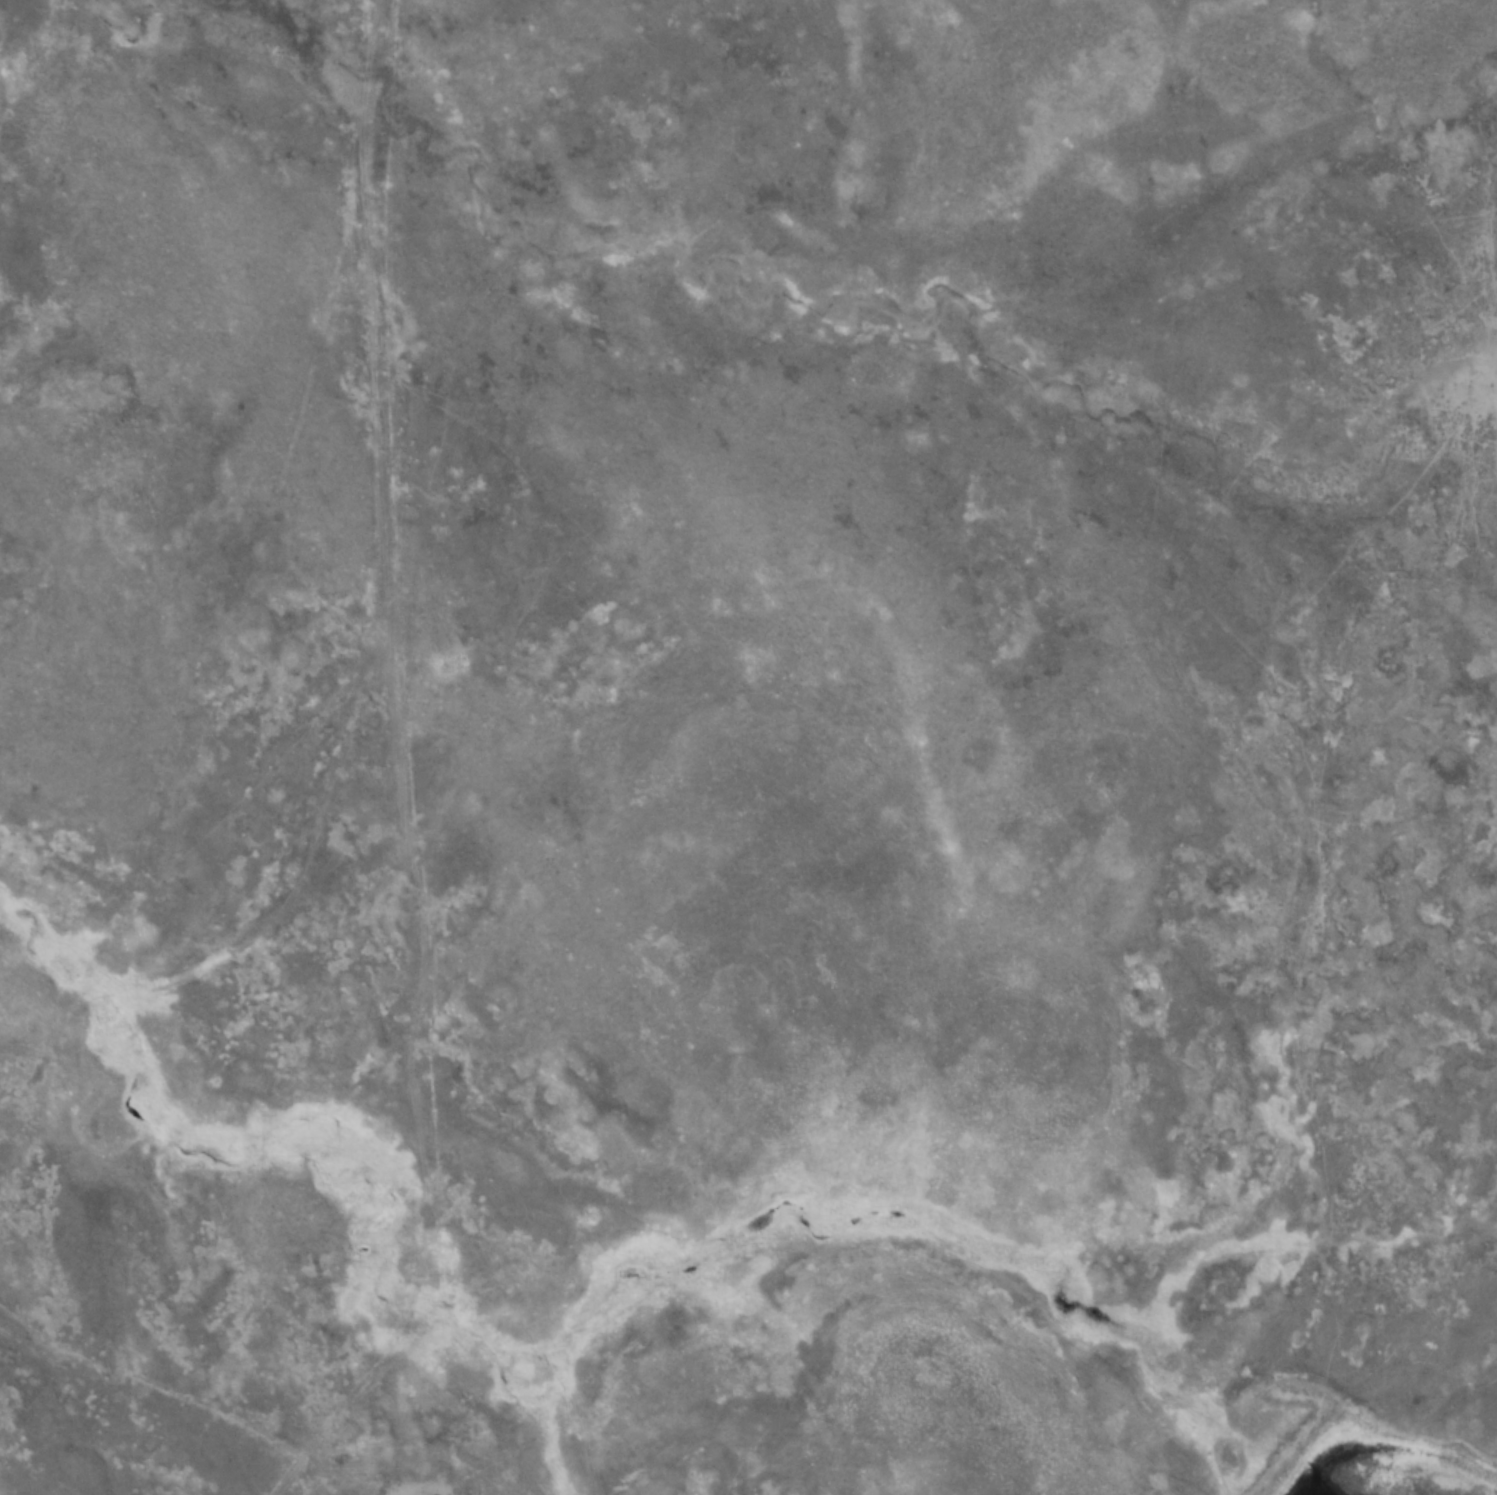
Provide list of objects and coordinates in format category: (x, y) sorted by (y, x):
dam: (1283, 1450)

